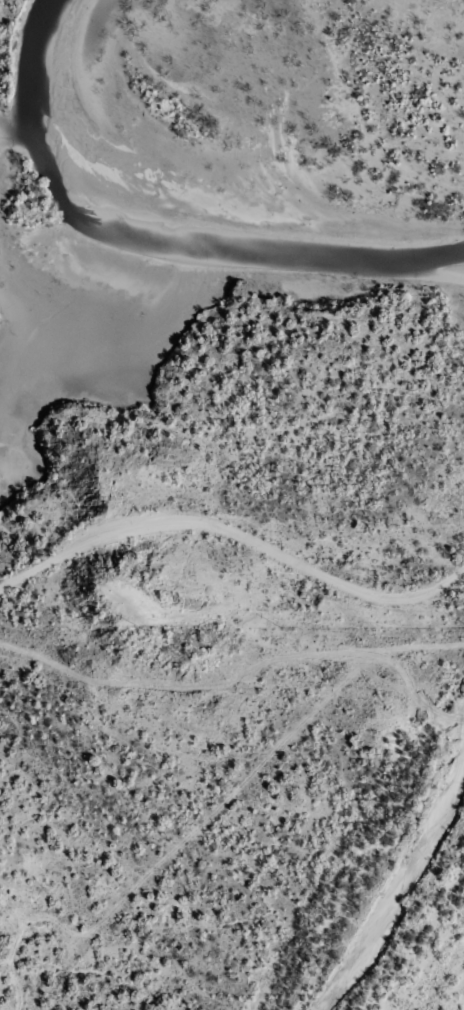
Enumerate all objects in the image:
road: (228, 625)

